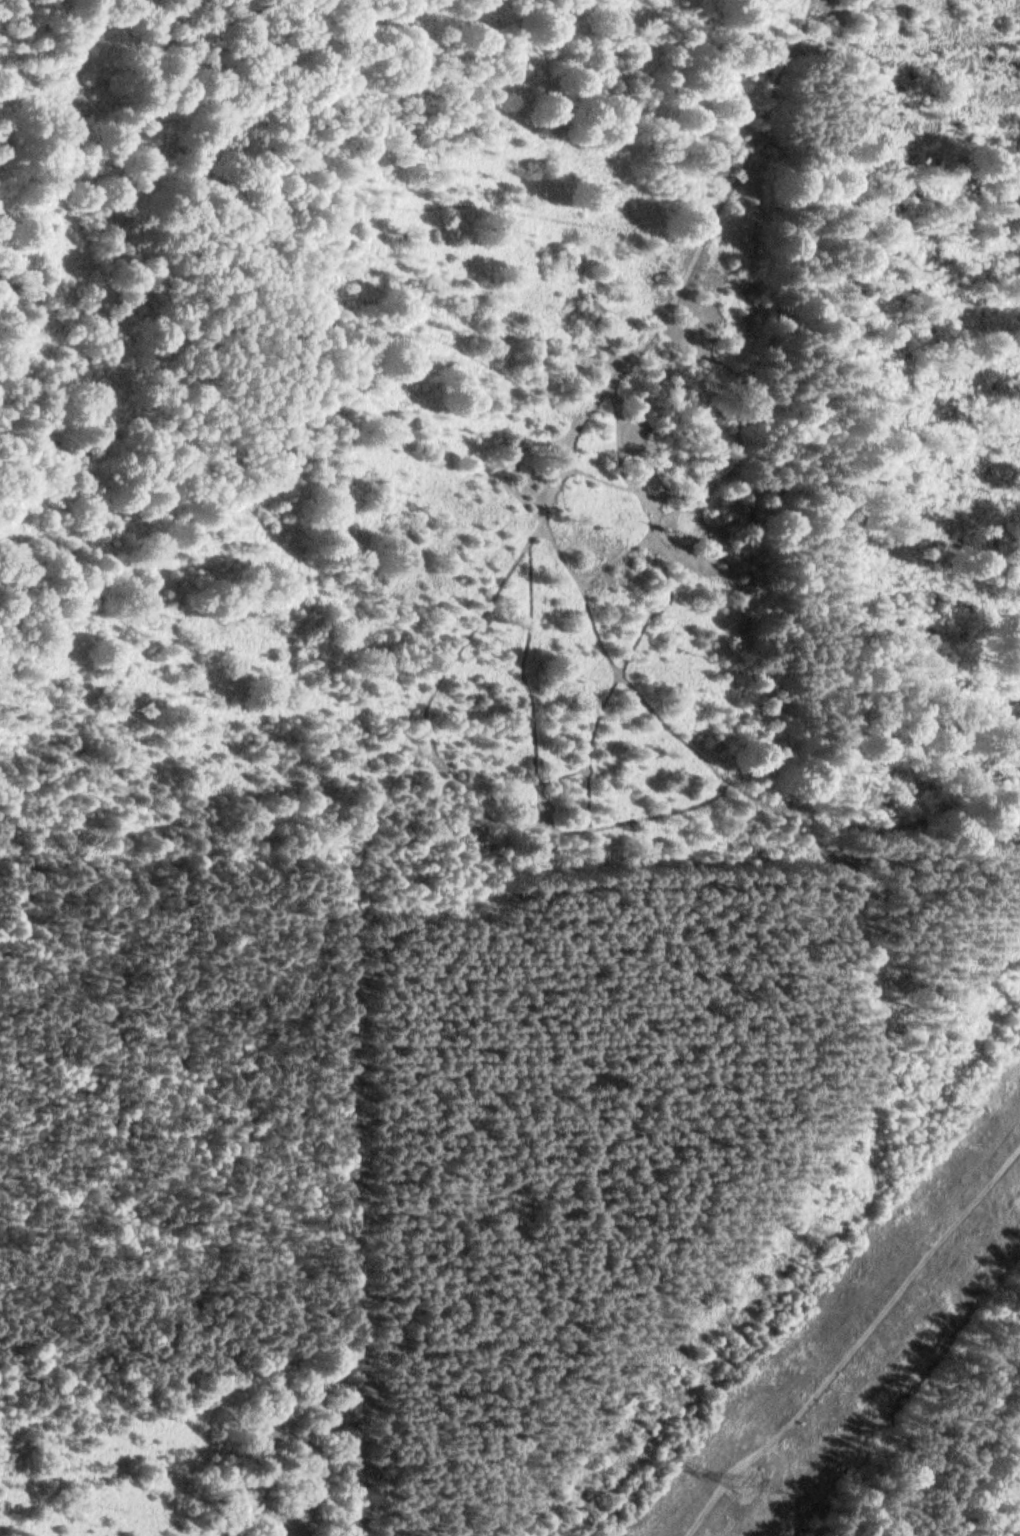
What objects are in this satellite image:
road: (852, 1342)
power tower: (740, 1484)

